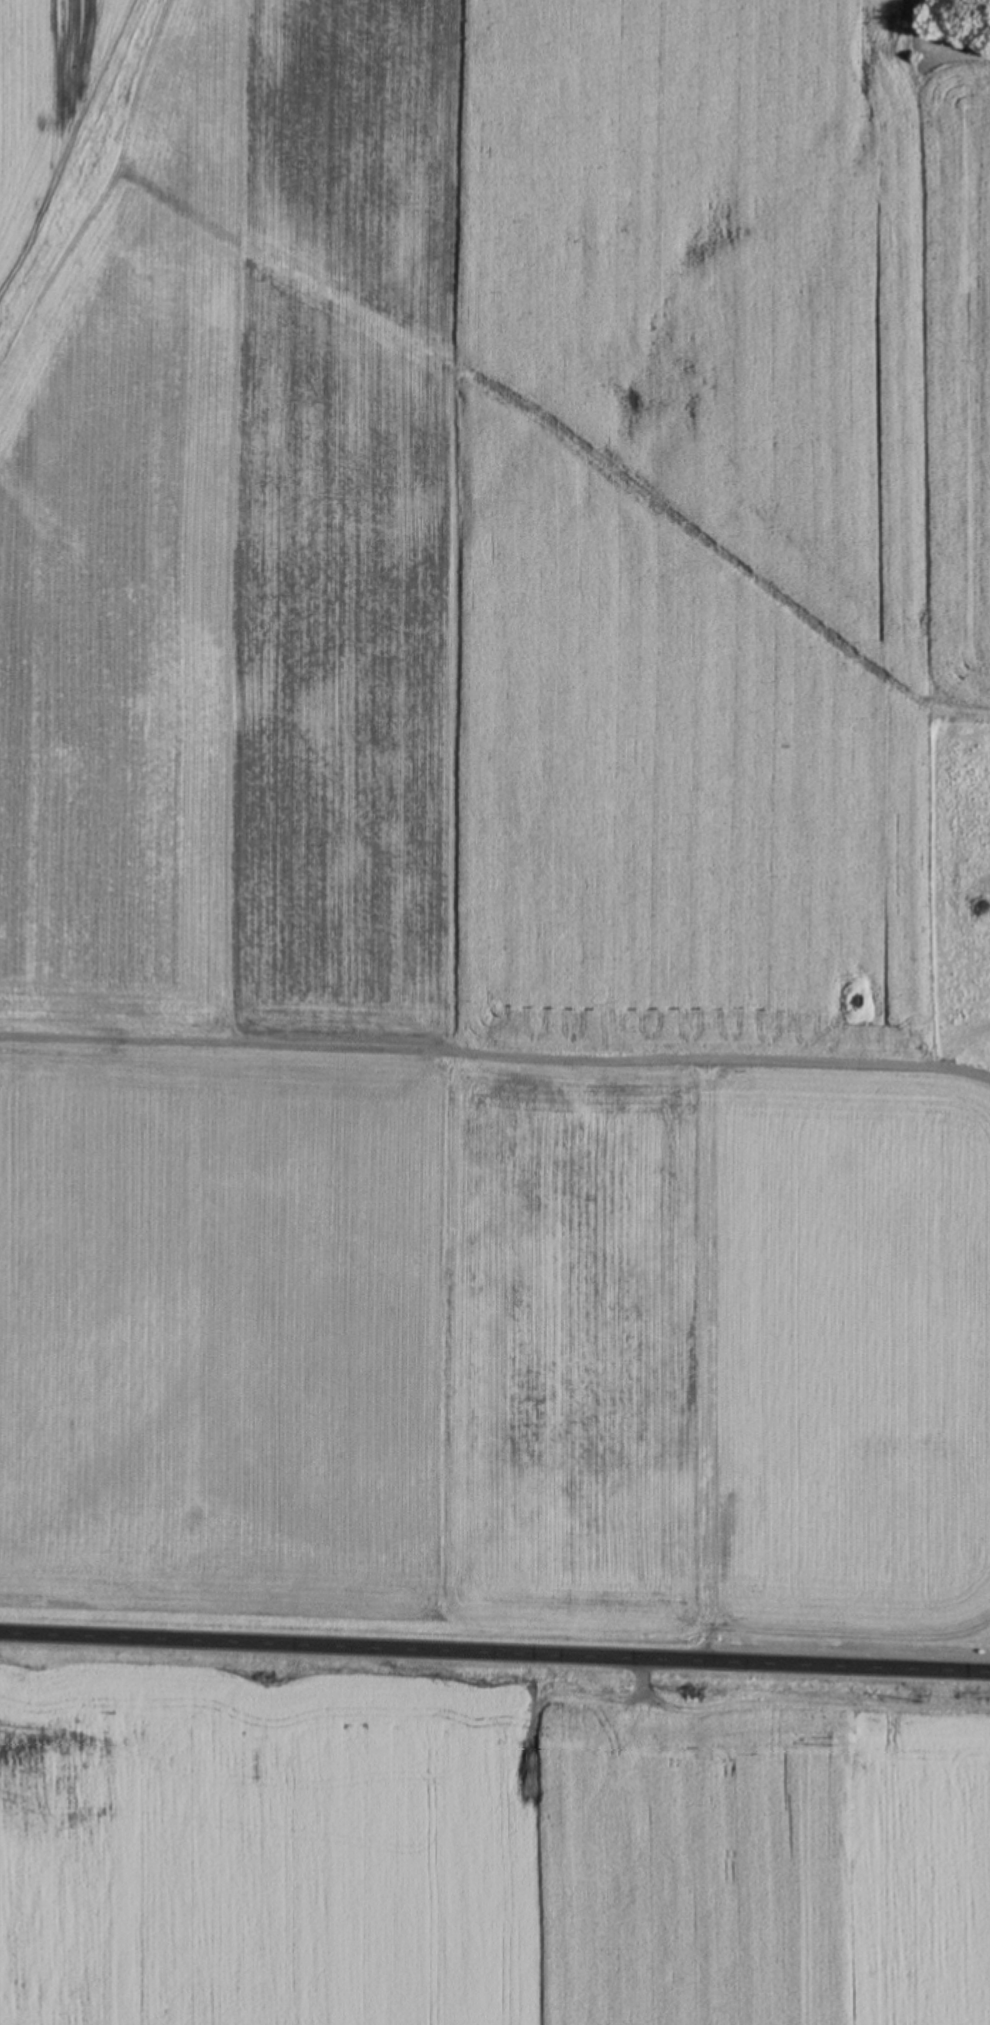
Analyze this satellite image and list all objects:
road: (495, 1645)
power tower: (265, 1678)
power tower: (696, 1694)

